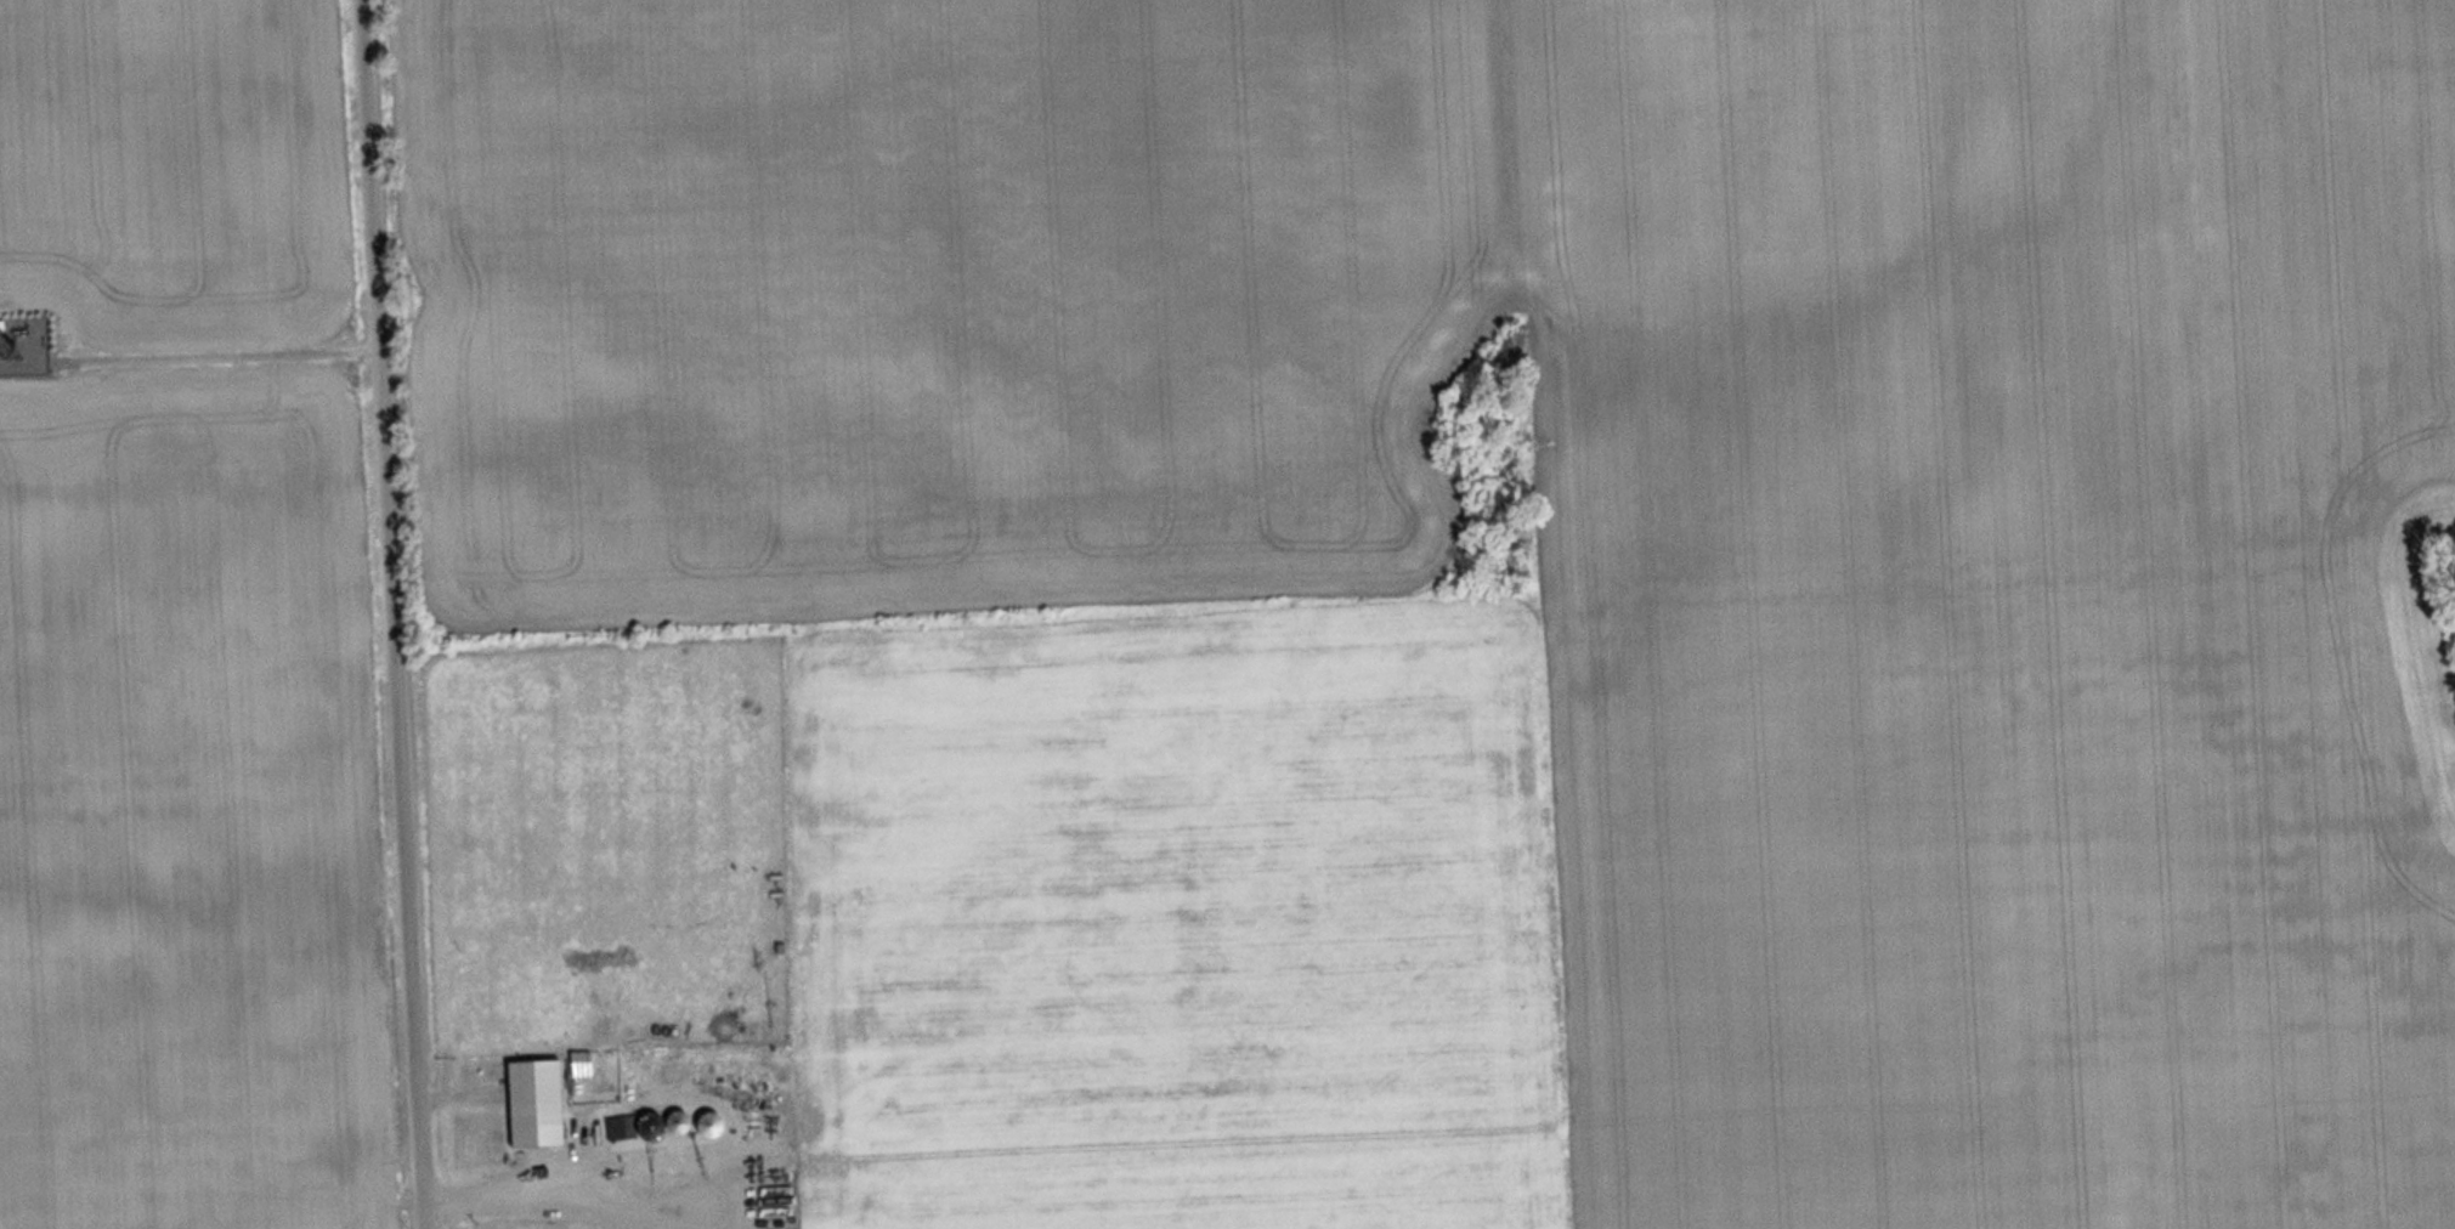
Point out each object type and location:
crop: (1997, 607)
road: (383, 614)
building: (539, 1103)
building: (715, 1125)
building: (622, 1128)

